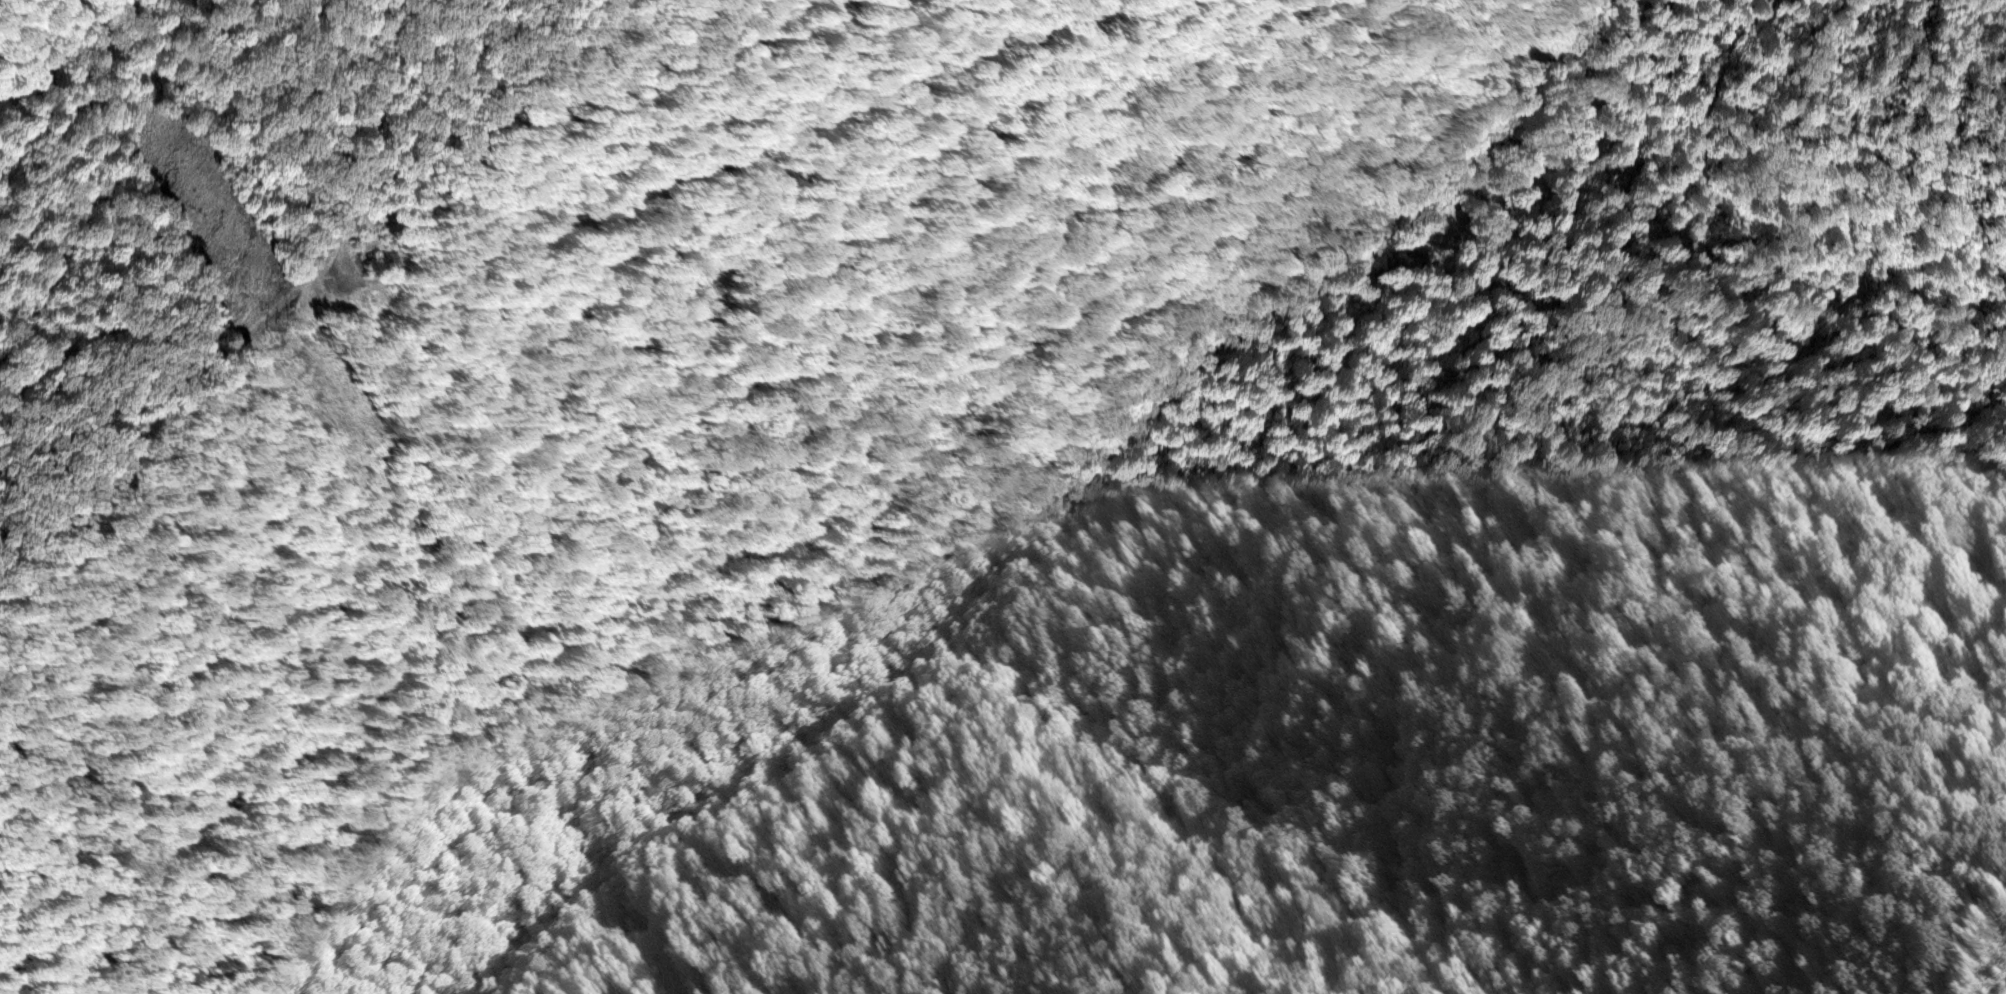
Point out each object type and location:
road: (294, 299)

